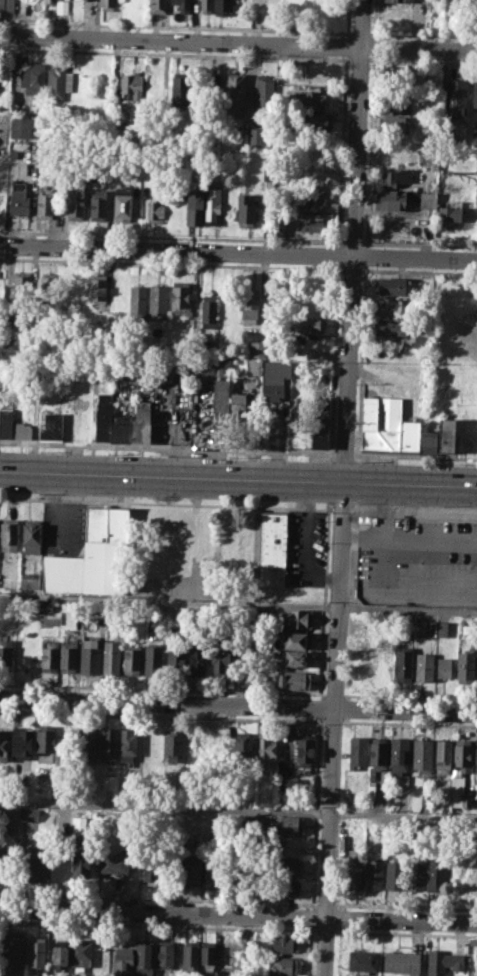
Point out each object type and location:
building: (399, 0)
building: (108, 4)
building: (6, 5)
building: (138, 5)
building: (183, 5)
building: (62, 6)
building: (159, 6)
building: (206, 6)
building: (223, 7)
road: (238, 44)
building: (398, 76)
building: (32, 78)
building: (59, 82)
building: (132, 86)
building: (212, 87)
building: (179, 89)
building: (235, 91)
building: (263, 94)
building: (474, 94)
building: (455, 96)
building: (309, 99)
building: (393, 108)
building: (316, 121)
building: (393, 124)
building: (20, 126)
building: (257, 136)
building: (395, 179)
building: (475, 194)
building: (19, 198)
building: (307, 200)
building: (391, 200)
building: (44, 203)
building: (76, 203)
building: (123, 203)
building: (58, 205)
building: (100, 205)
building: (213, 206)
building: (156, 207)
building: (193, 208)
building: (246, 210)
building: (451, 217)
building: (315, 225)
building: (276, 229)
road: (238, 253)
building: (389, 286)
building: (414, 286)
building: (47, 287)
building: (22, 288)
building: (97, 289)
building: (180, 297)
building: (158, 301)
building: (137, 302)
building: (250, 305)
building: (389, 307)
building: (208, 311)
building: (311, 325)
building: (391, 325)
building: (420, 341)
building: (205, 346)
building: (257, 349)
building: (253, 367)
building: (169, 369)
building: (214, 379)
building: (275, 379)
building: (237, 404)
building: (296, 414)
building: (104, 416)
building: (6, 422)
building: (141, 422)
building: (320, 423)
building: (380, 423)
building: (50, 425)
building: (120, 428)
building: (21, 429)
building: (446, 434)
building: (416, 438)
road: (167, 447)
road: (343, 455)
road: (414, 457)
road: (238, 478)
road: (339, 487)
road: (166, 503)
road: (340, 509)
road: (380, 510)
road: (412, 510)
building: (9, 534)
building: (31, 536)
building: (227, 539)
road: (408, 540)
road: (304, 543)
parking lot: (306, 547)
building: (271, 548)
building: (93, 556)
parking lot: (416, 560)
building: (29, 581)
road: (405, 583)
road: (238, 603)
road: (324, 603)
building: (45, 606)
building: (299, 618)
building: (466, 625)
building: (432, 628)
building: (296, 639)
building: (6, 653)
building: (90, 655)
building: (49, 656)
building: (68, 656)
building: (112, 657)
building: (153, 658)
building: (175, 658)
building: (220, 658)
building: (297, 658)
building: (132, 659)
building: (197, 661)
building: (364, 662)
building: (465, 663)
building: (403, 664)
building: (424, 666)
building: (443, 666)
building: (476, 671)
building: (293, 679)
road: (162, 688)
road: (334, 694)
road: (410, 696)
road: (238, 706)
road: (320, 707)
building: (45, 743)
building: (21, 744)
building: (4, 745)
building: (87, 745)
building: (108, 745)
building: (129, 745)
building: (173, 745)
building: (220, 745)
building: (243, 746)
building: (265, 750)
building: (306, 750)
building: (358, 751)
building: (377, 754)
building: (399, 754)
building: (422, 755)
building: (462, 756)
building: (444, 757)
building: (475, 757)
building: (110, 782)
building: (403, 782)
building: (426, 786)
building: (475, 790)
building: (466, 799)
road: (238, 809)
road: (317, 811)
building: (33, 814)
building: (4, 819)
building: (291, 824)
building: (80, 825)
building: (189, 840)
building: (114, 863)
building: (81, 865)
building: (151, 865)
building: (472, 866)
building: (287, 867)
building: (2, 868)
building: (39, 868)
building: (355, 868)
building: (192, 871)
building: (211, 871)
building: (374, 873)
building: (436, 874)
building: (395, 875)
building: (415, 875)
building: (285, 888)
road: (325, 903)
road: (406, 905)
road: (238, 915)
building: (284, 943)
building: (247, 947)
building: (13, 950)
building: (80, 952)
building: (165, 954)
building: (36, 955)
building: (59, 955)
building: (208, 955)
building: (189, 956)
building: (145, 958)
building: (122, 960)
building: (363, 960)
building: (401, 962)
building: (443, 962)
building: (282, 965)

